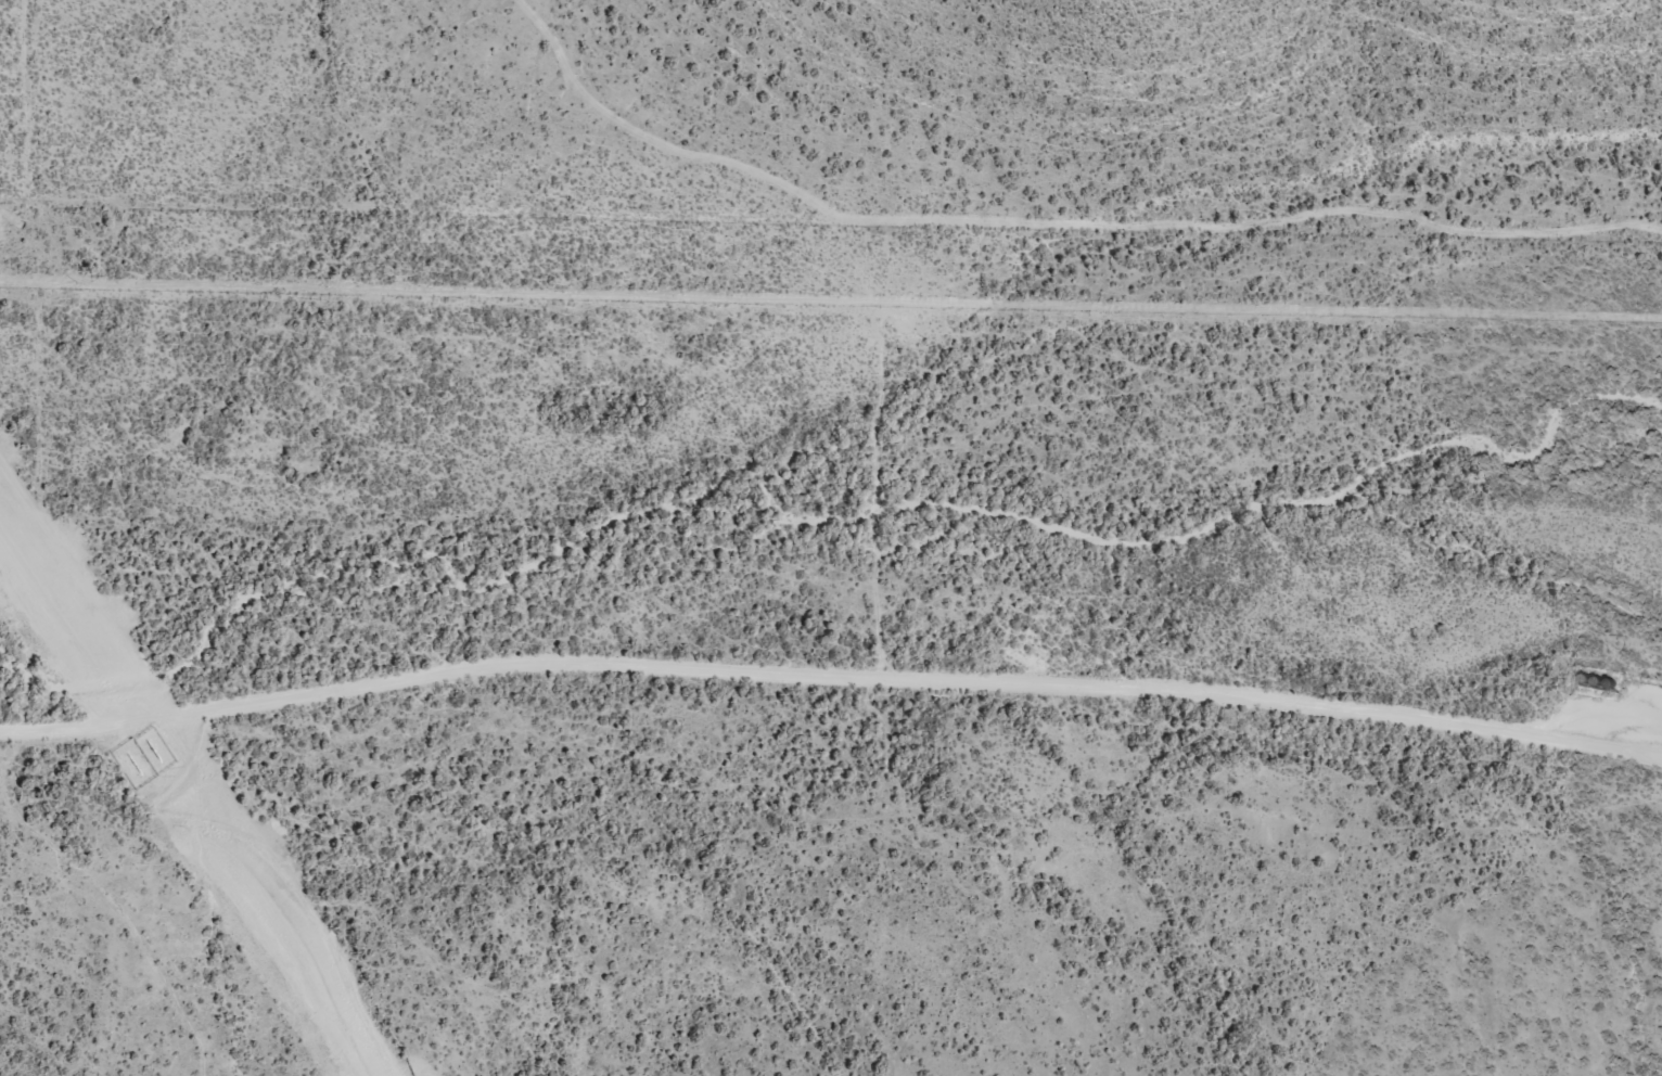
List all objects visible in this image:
road: (824, 692)

